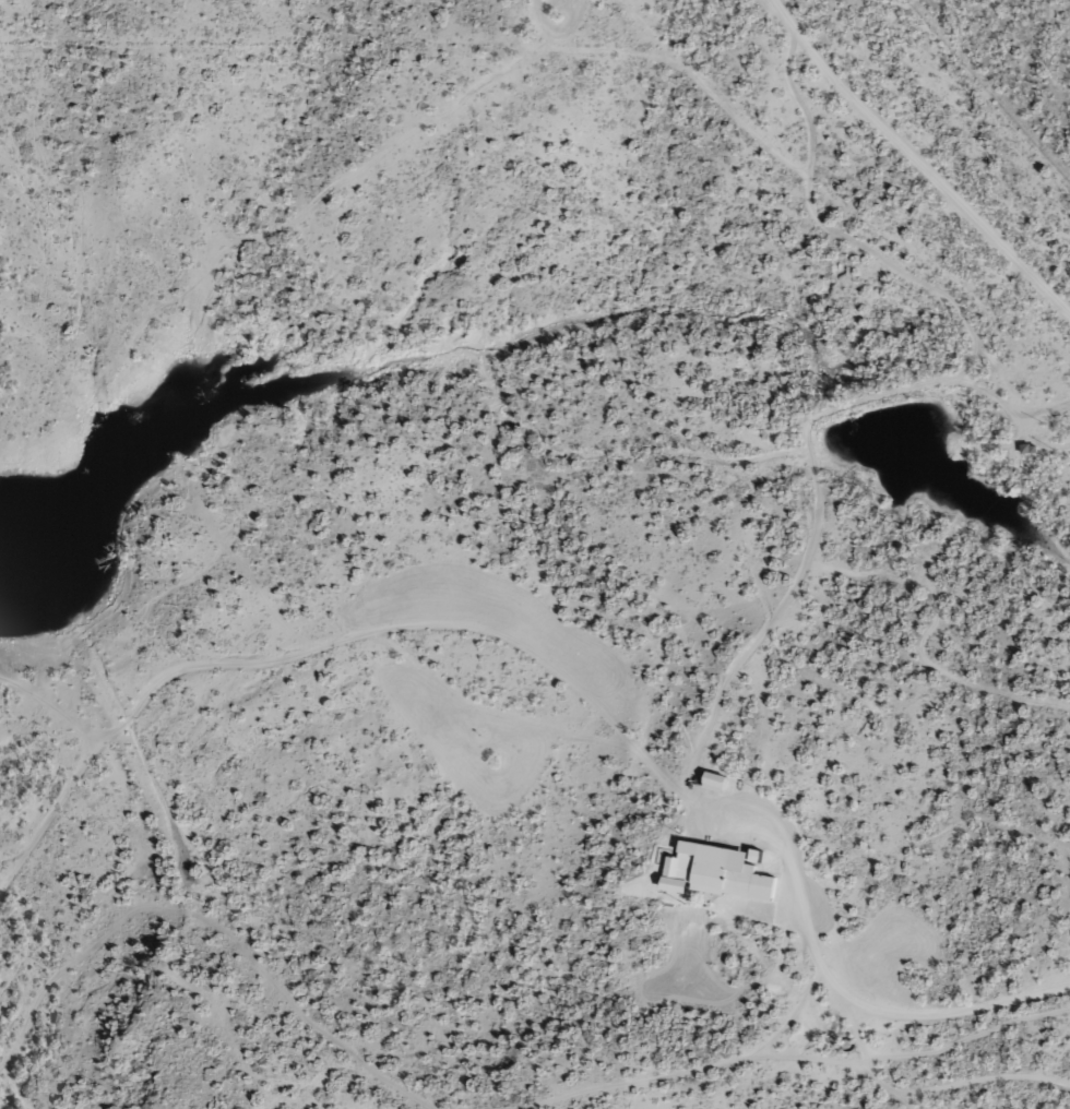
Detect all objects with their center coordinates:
road: (736, 13)
road: (909, 170)
road: (790, 654)
road: (536, 703)
building: (712, 779)
building: (713, 869)

